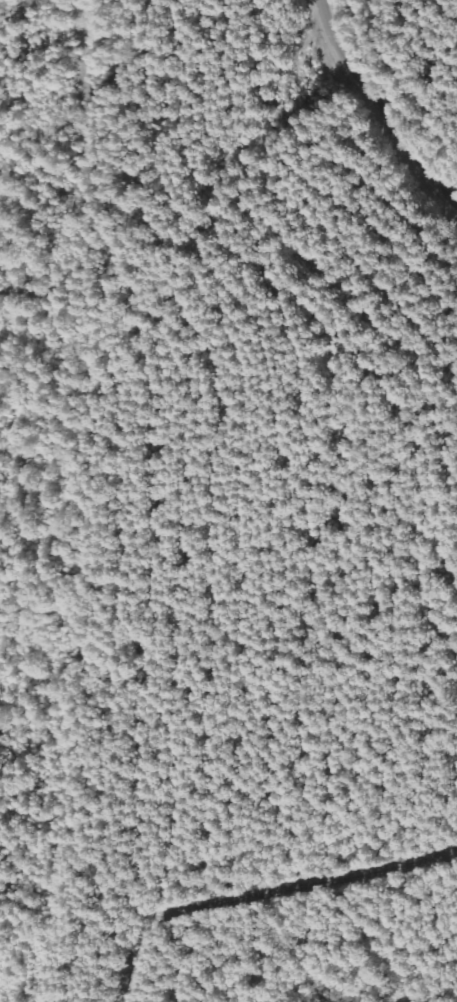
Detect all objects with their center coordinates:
road: (379, 110)
road: (232, 387)
road: (10, 406)
road: (154, 883)

